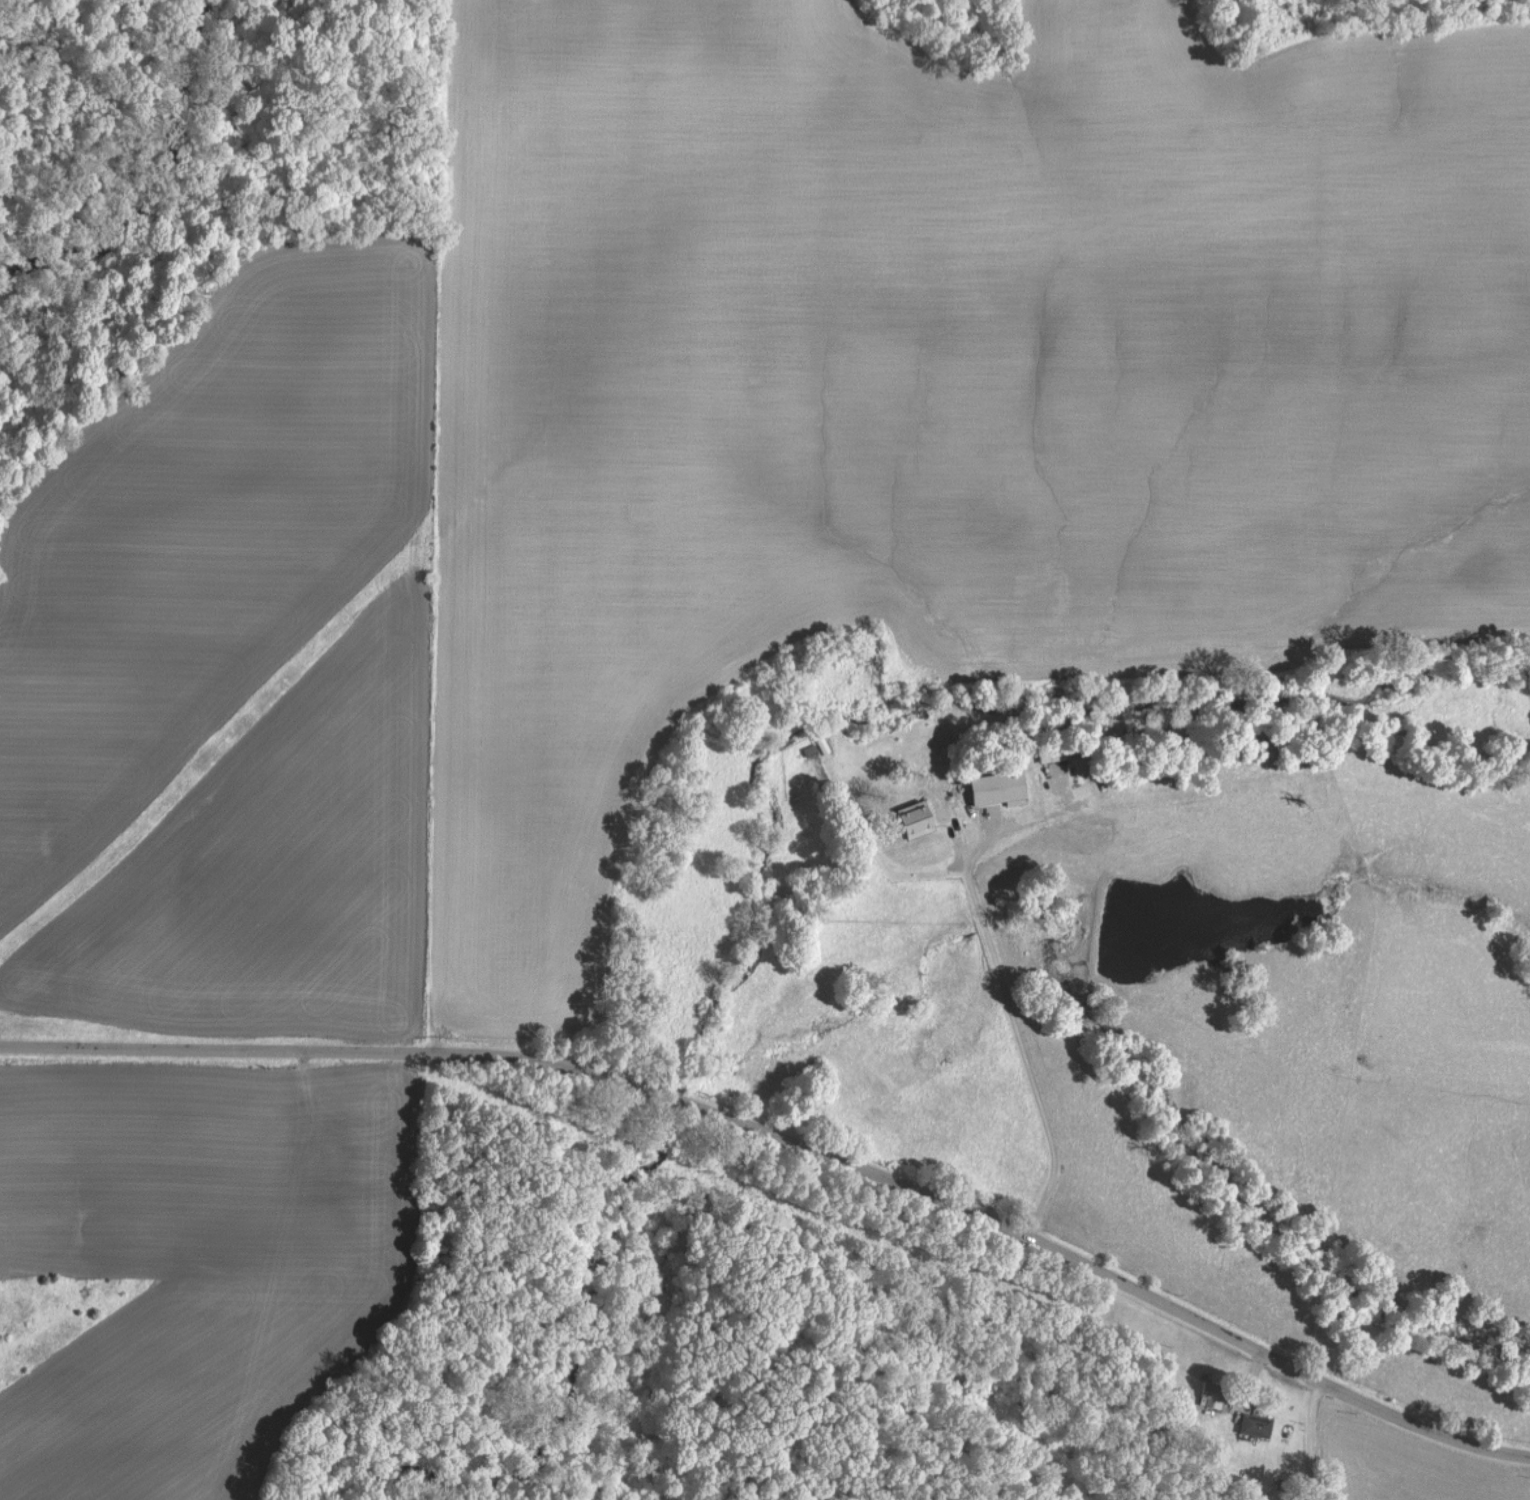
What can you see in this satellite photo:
building: (1003, 789)
building: (924, 820)
road: (1015, 1053)
road: (790, 1140)
building: (1259, 1425)
road: (1310, 1439)

